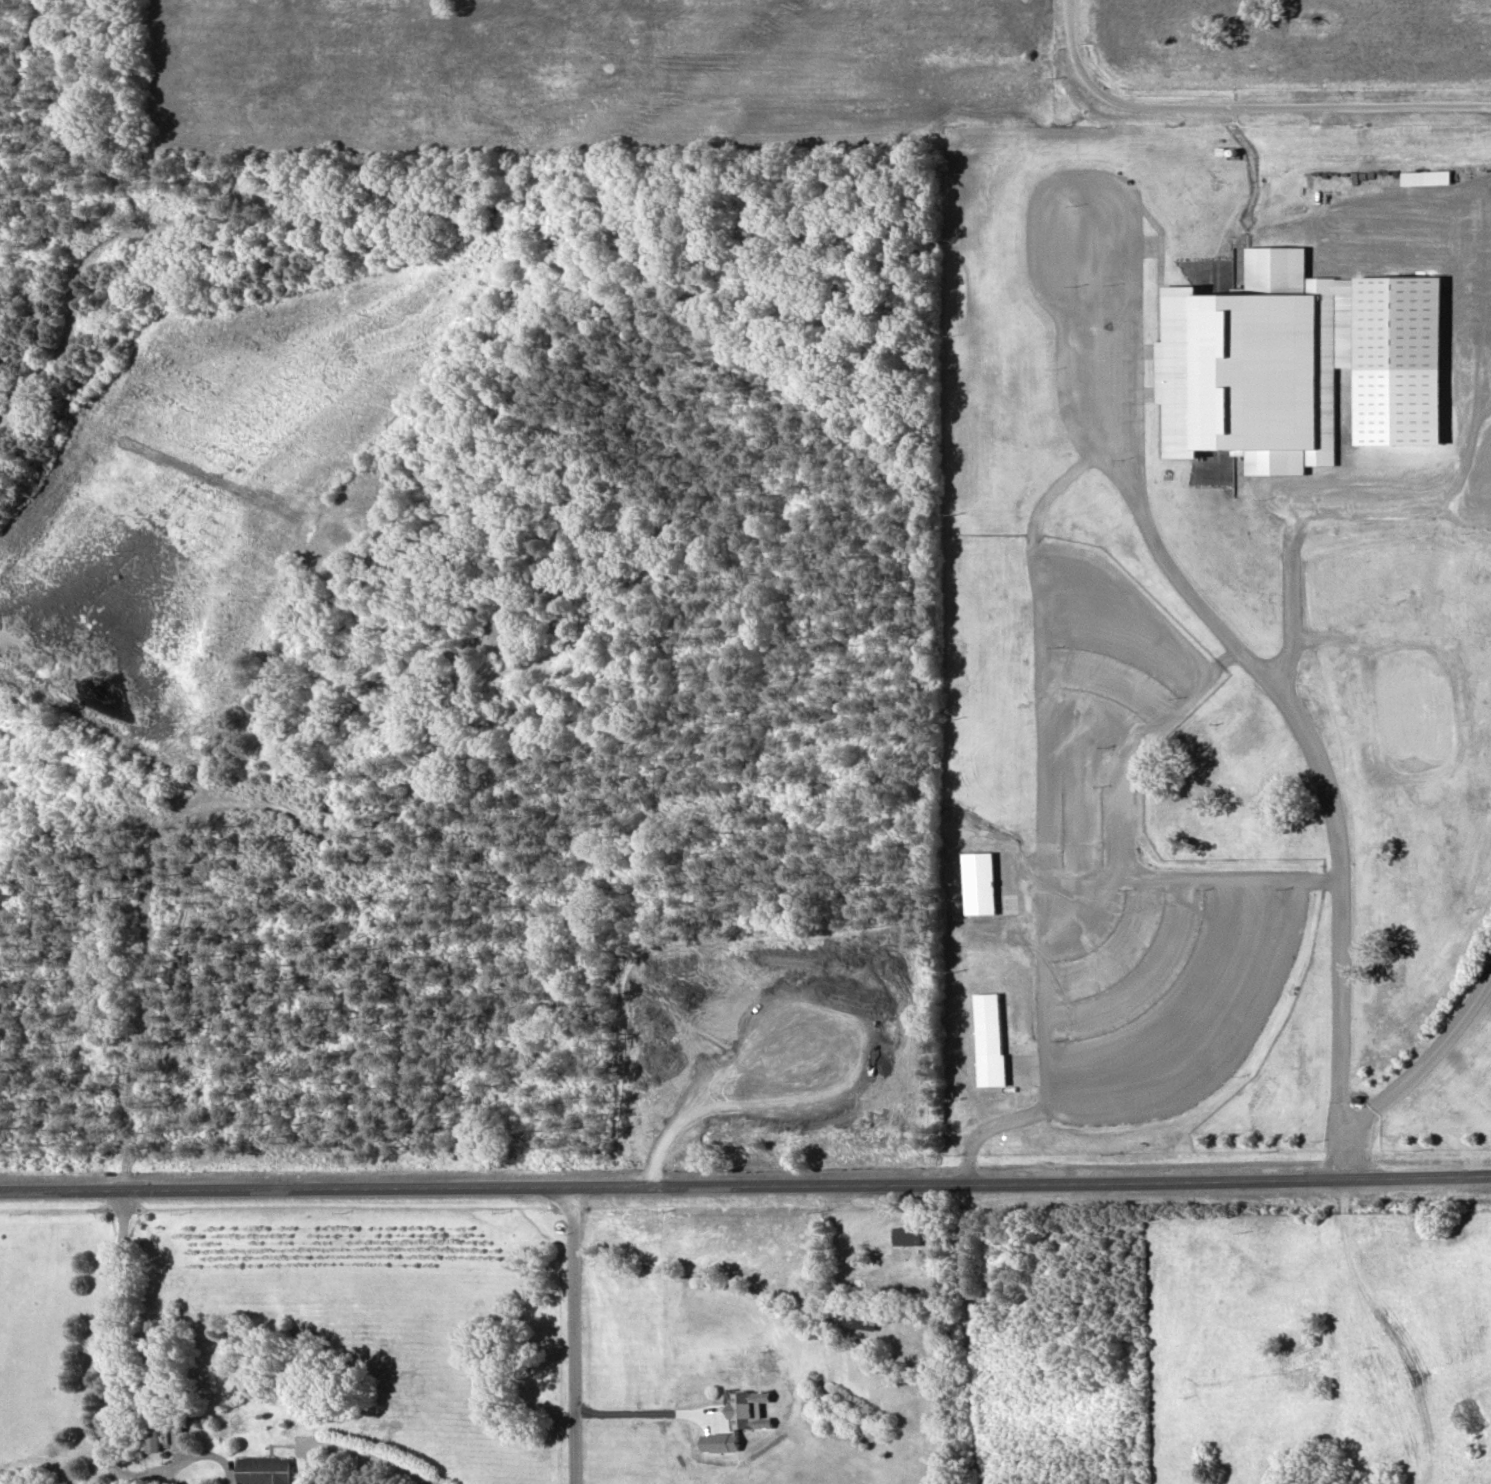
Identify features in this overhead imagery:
road: (1240, 107)
building: (1282, 355)
road: (1294, 713)
road: (1426, 1058)
road: (745, 1181)
building: (906, 1235)
building: (858, 1322)
road: (570, 1333)
building: (151, 1434)
building: (261, 1469)

